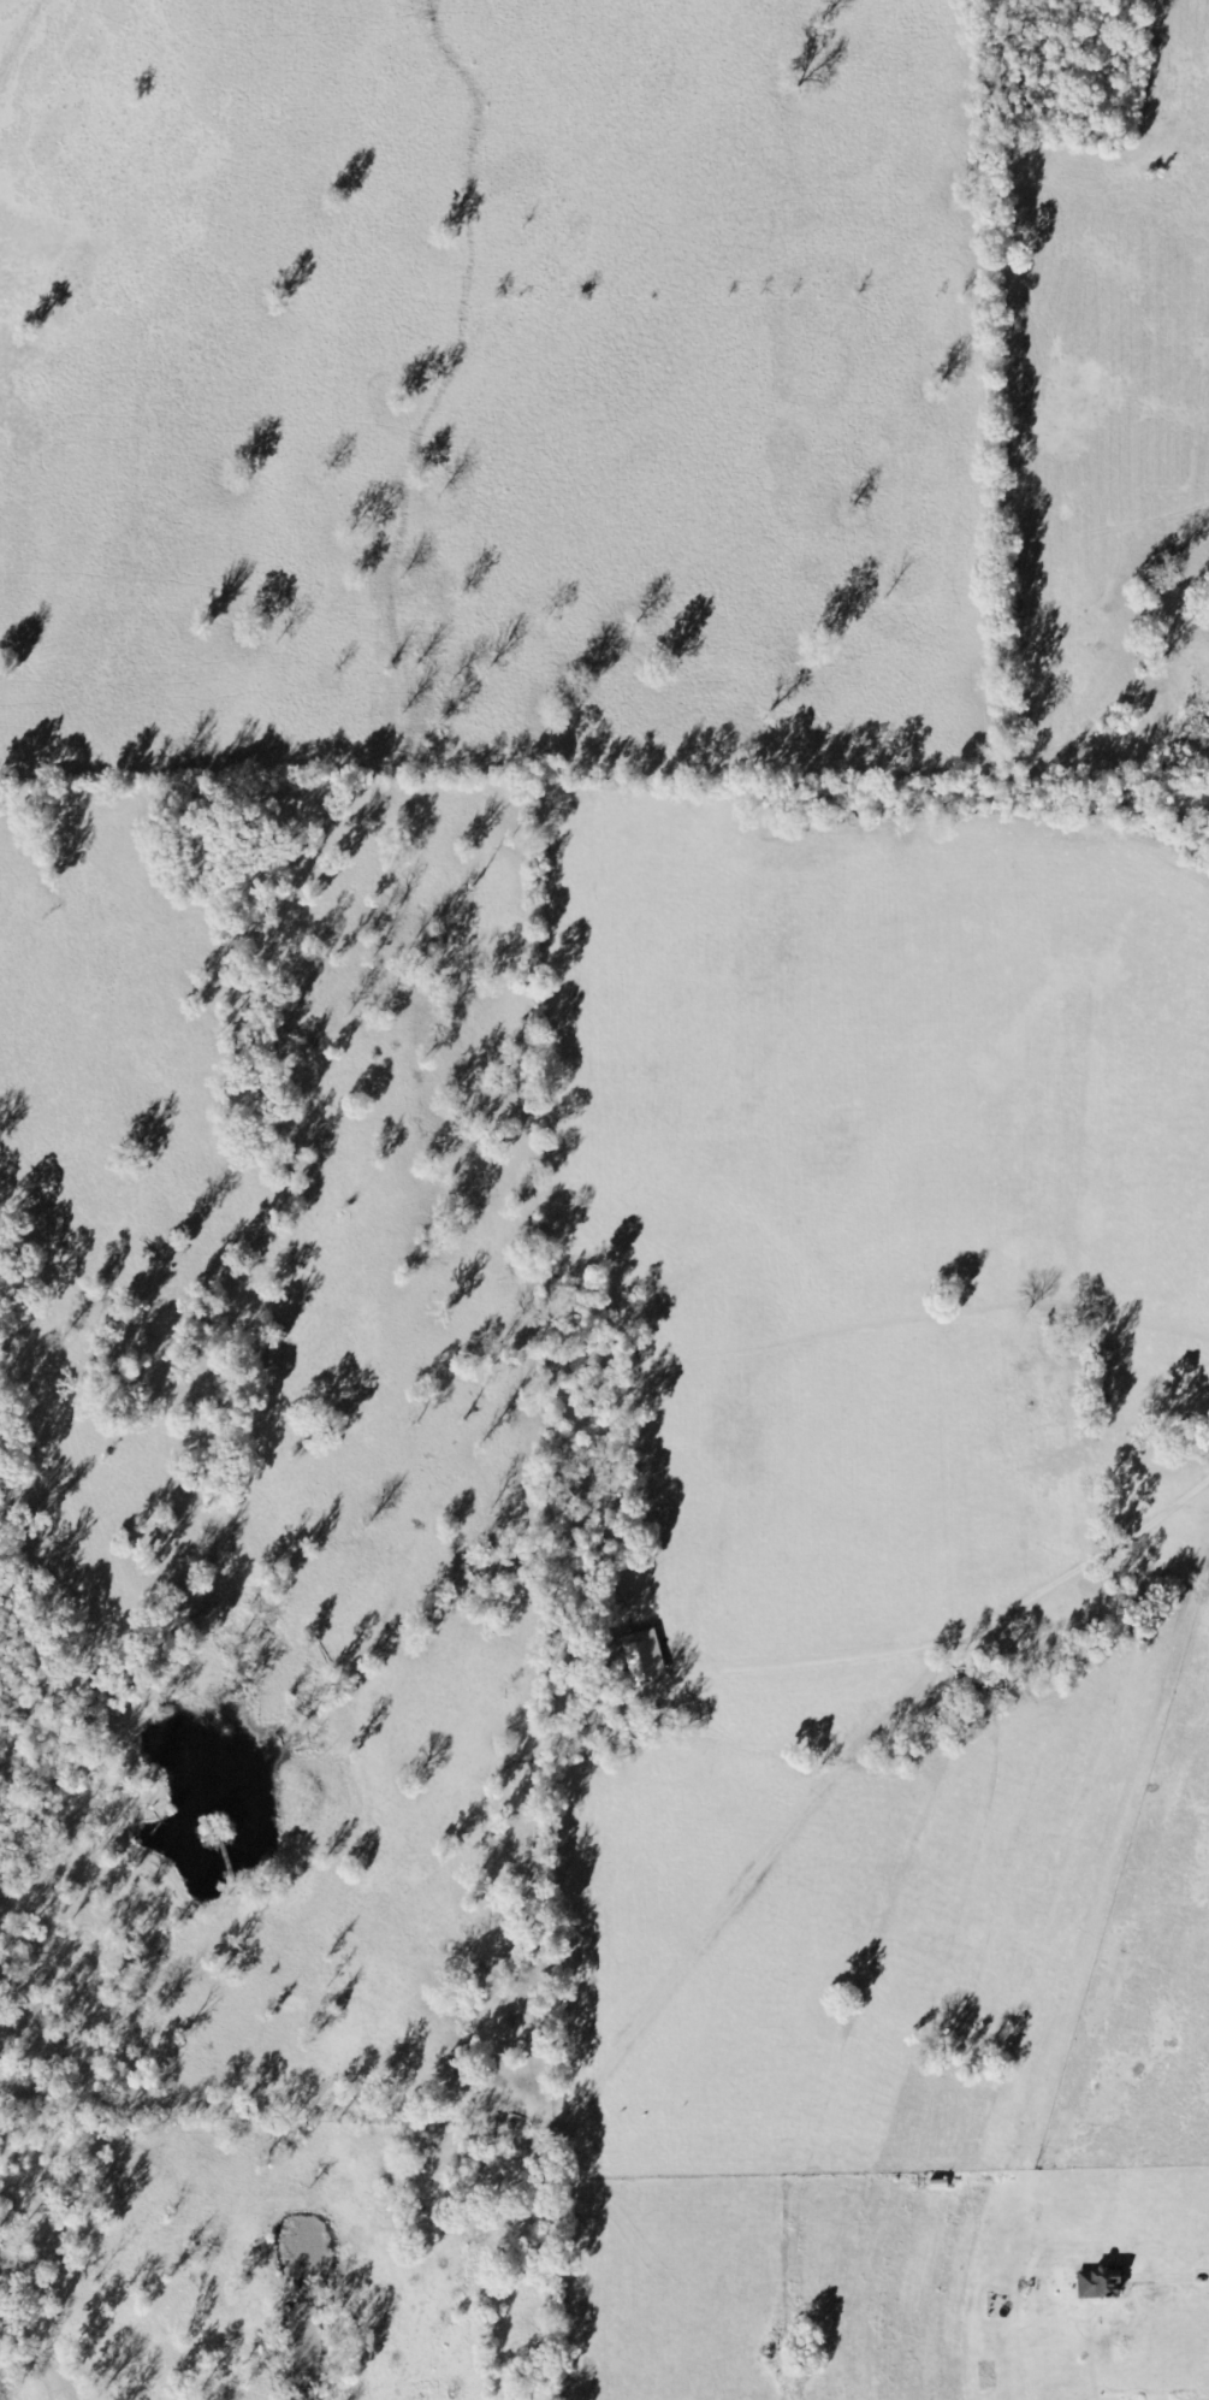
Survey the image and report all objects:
road: (1207, 2276)

